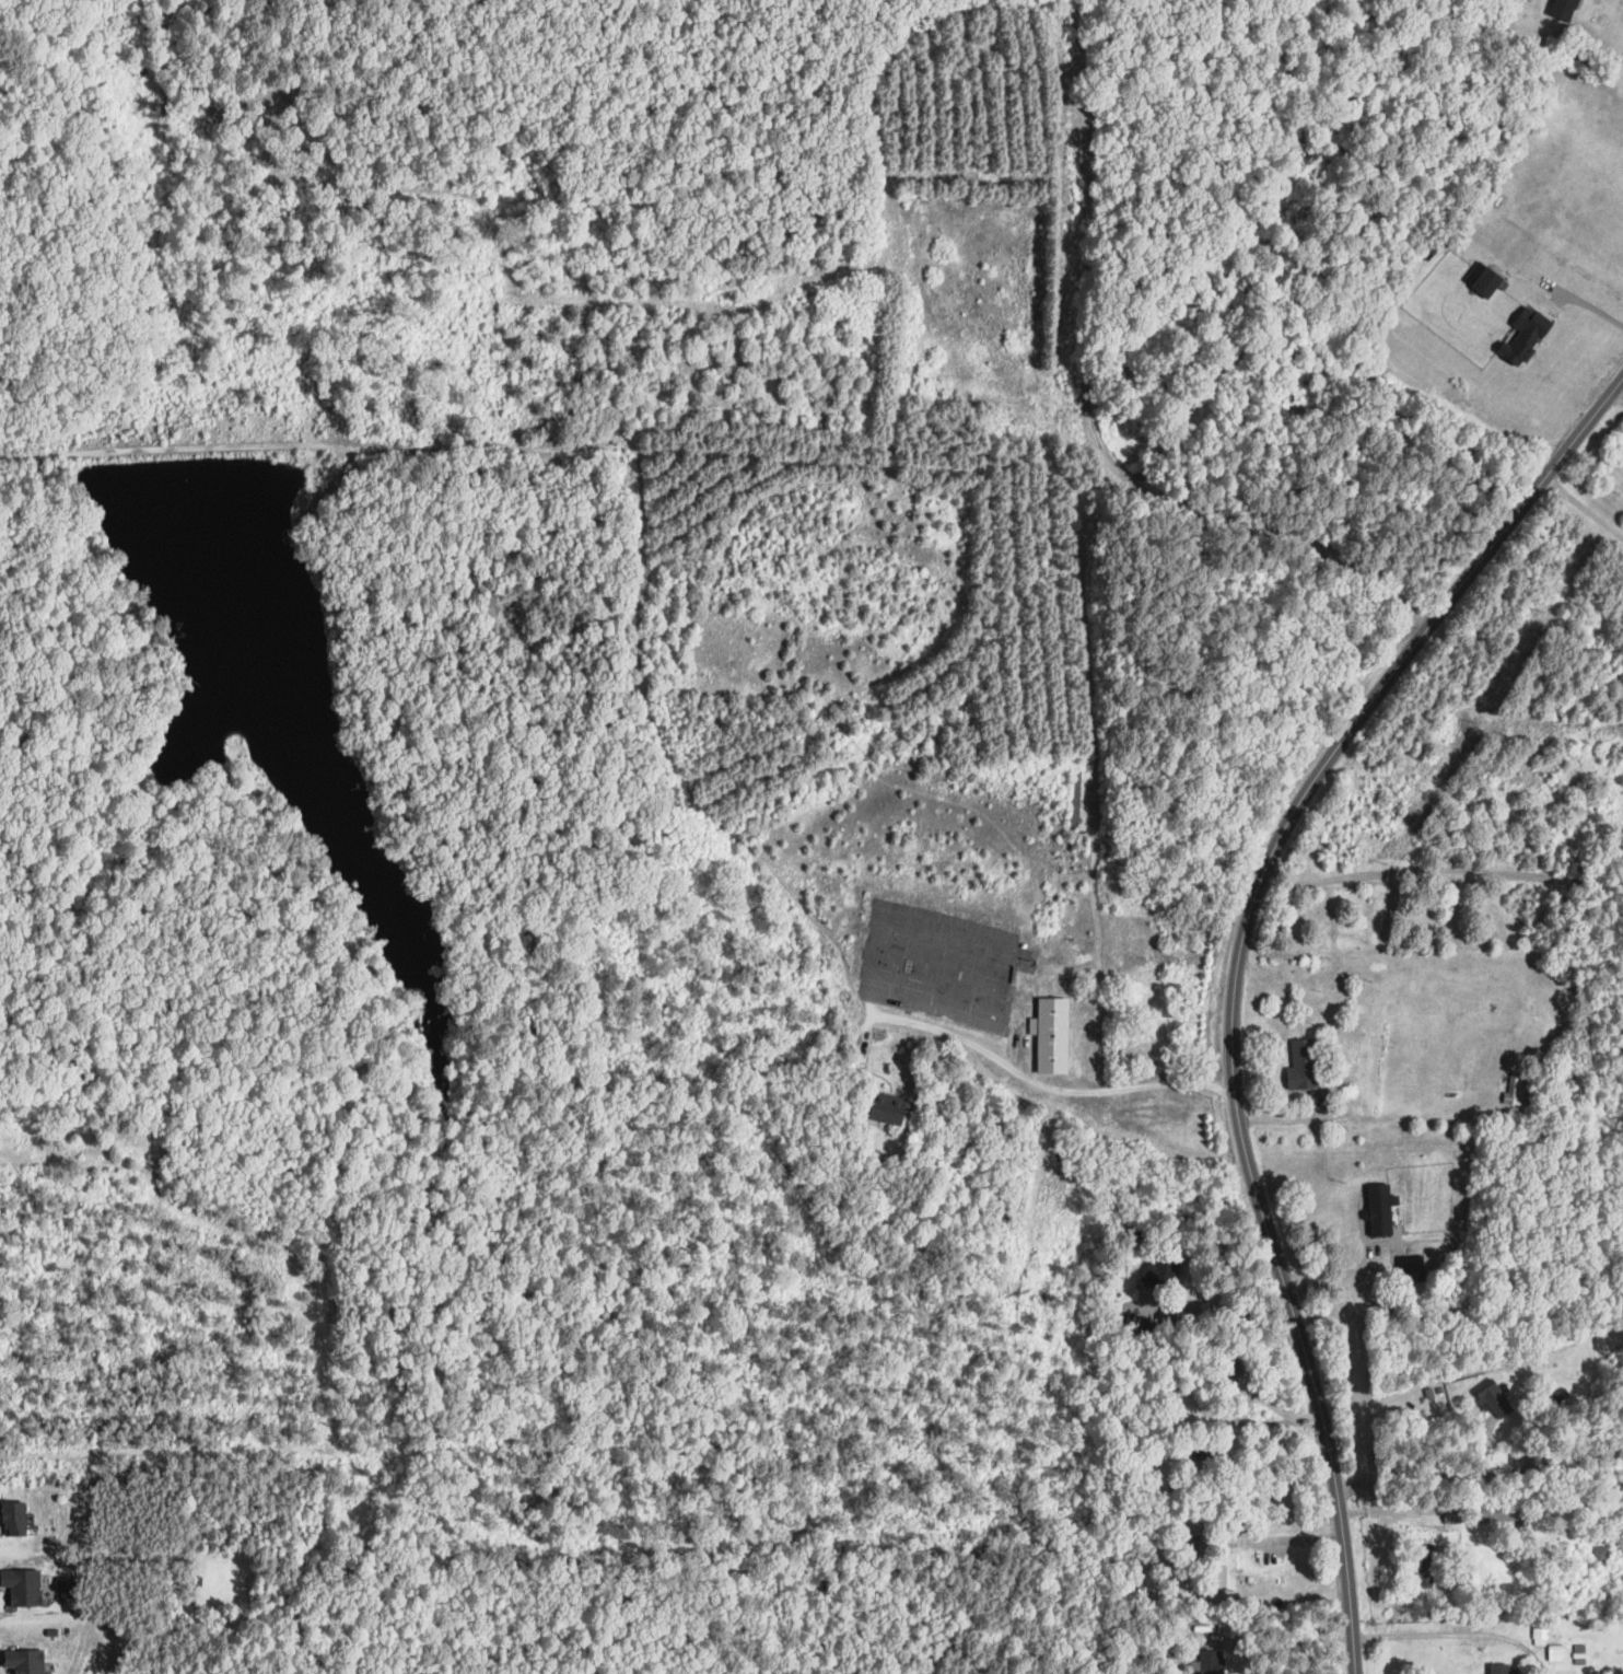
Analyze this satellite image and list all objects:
building: (1562, 9)
building: (1486, 281)
road: (1591, 309)
building: (1525, 335)
road: (1614, 400)
road: (1089, 415)
road: (954, 446)
road: (1583, 512)
building: (1074, 798)
road: (1439, 870)
road: (1236, 973)
building: (1051, 1034)
building: (1301, 1065)
road: (1043, 1089)
building: (1519, 1090)
building: (1319, 1100)
building: (889, 1108)
building: (1378, 1220)
building: (1160, 1274)
road: (1223, 1306)
building: (1240, 1374)
building: (1496, 1402)
road: (1214, 1417)
road: (1481, 1475)
building: (1497, 1512)
building: (1451, 1515)
building: (14, 1519)
road: (1296, 1541)
building: (1427, 1566)
building: (1226, 1570)
building: (23, 1586)
road: (1297, 1637)
road: (1435, 1642)
building: (1555, 1653)
building: (1578, 1653)
building: (25, 1661)
building: (1210, 1662)
building: (1503, 1670)

